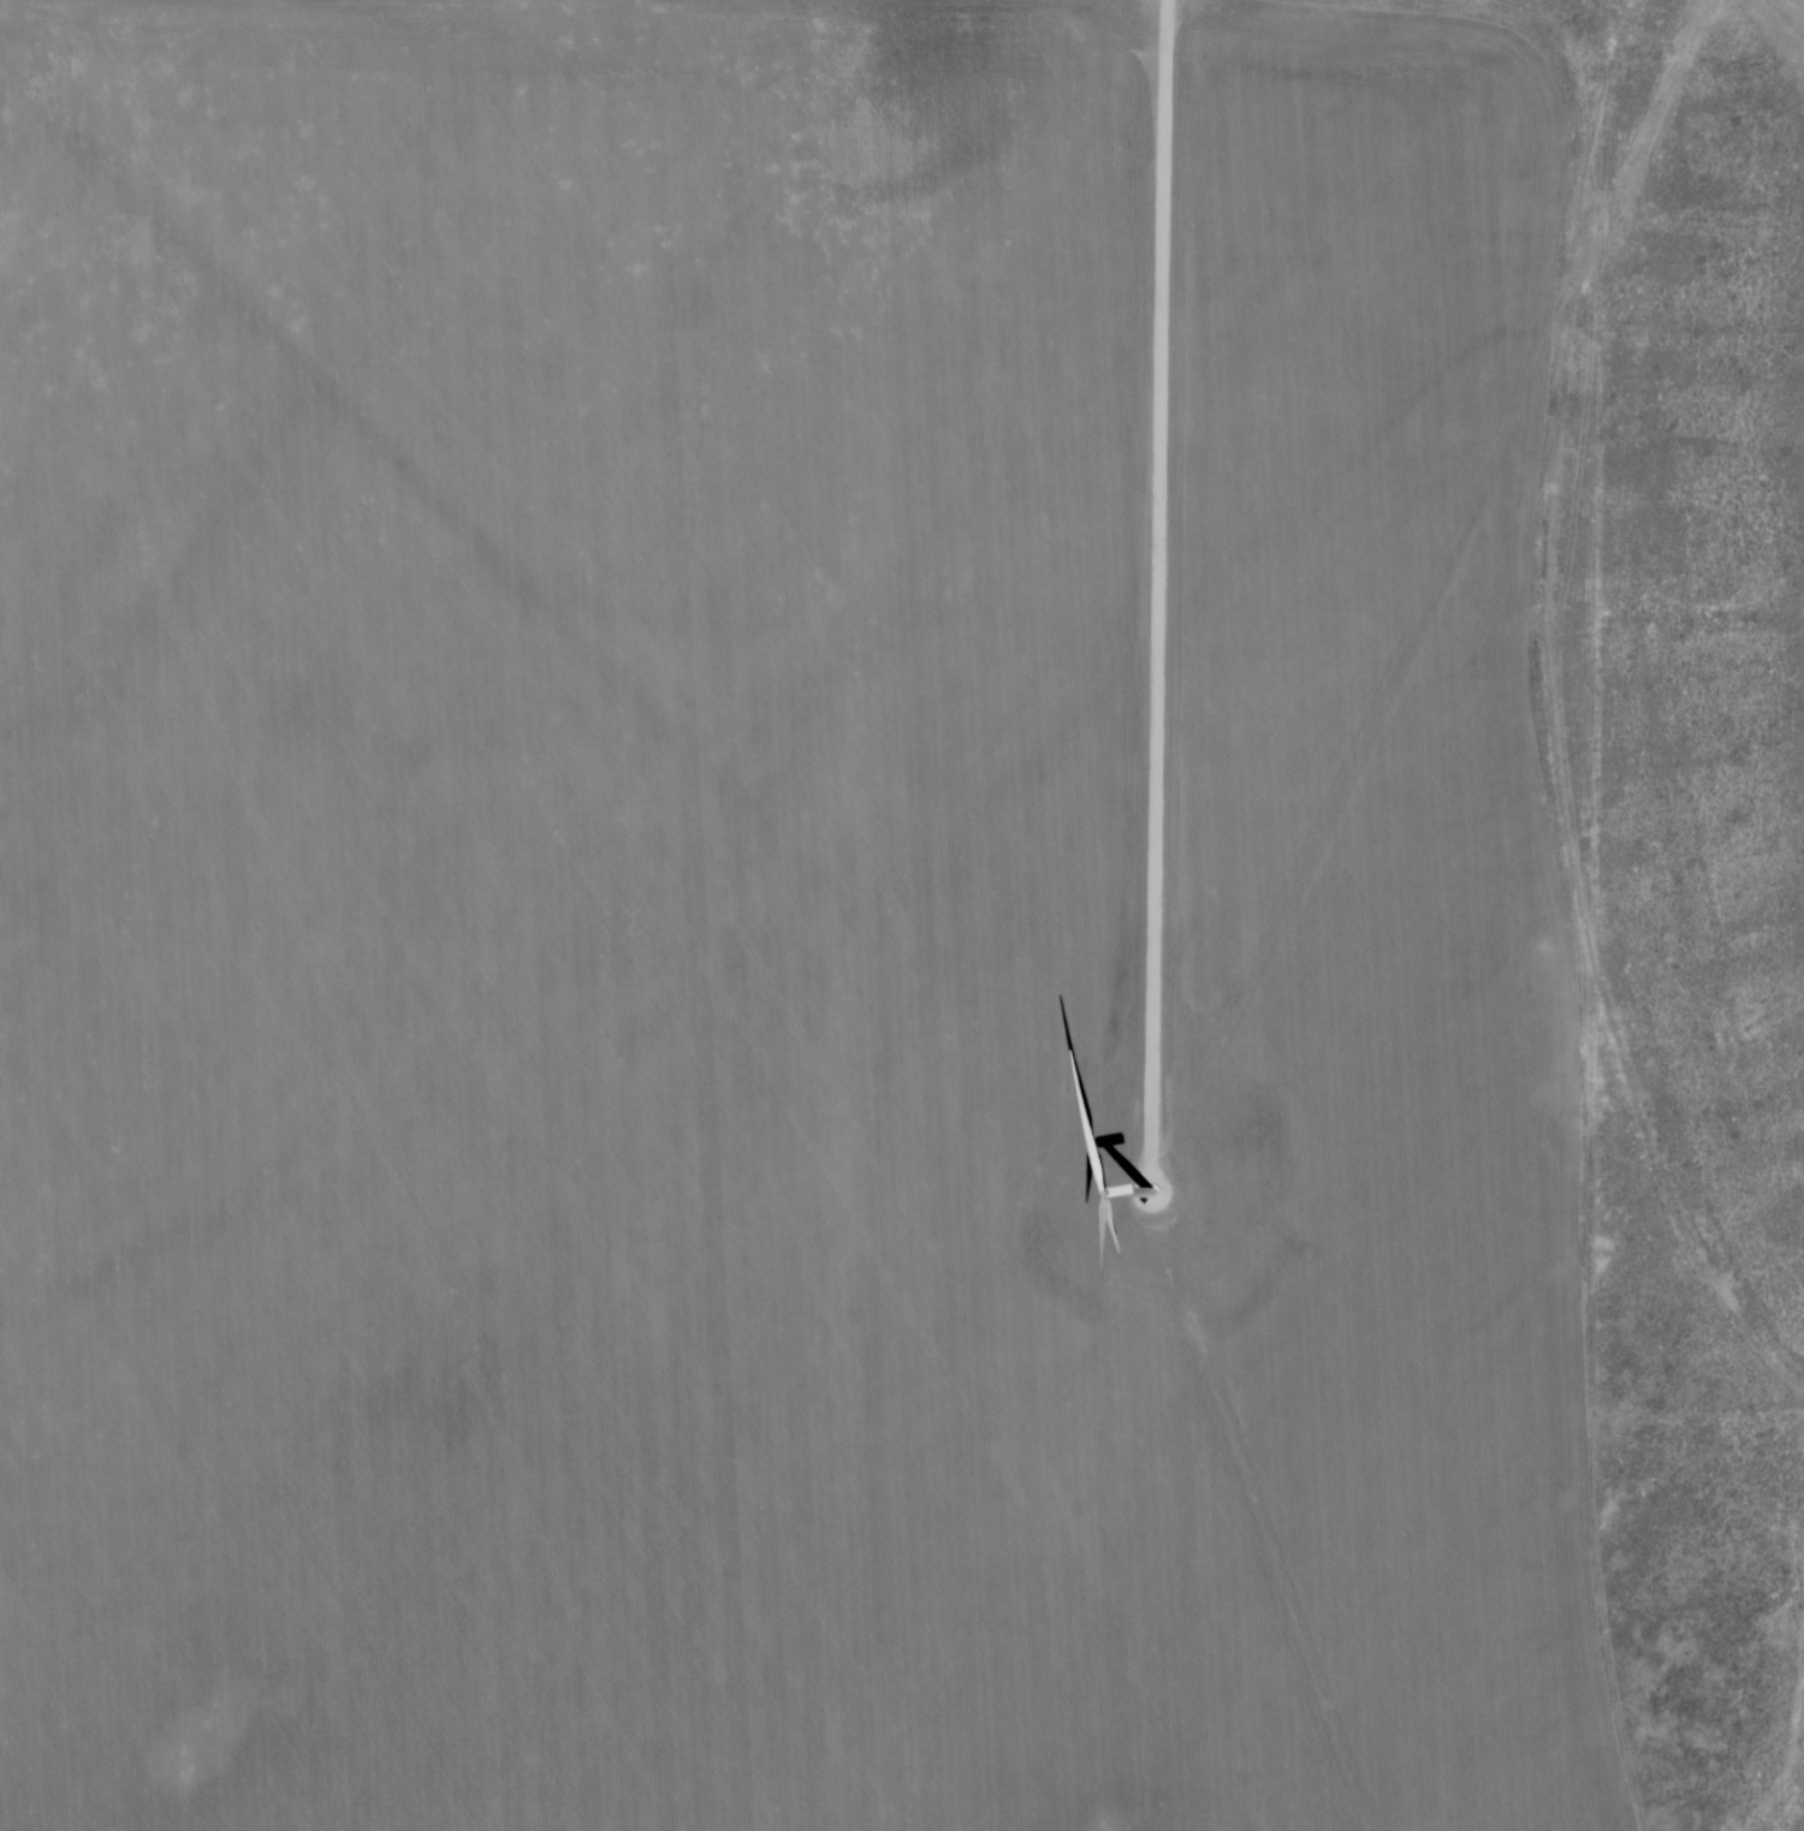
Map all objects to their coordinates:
road: (1159, 581)
wind turbine: (1157, 1199)

